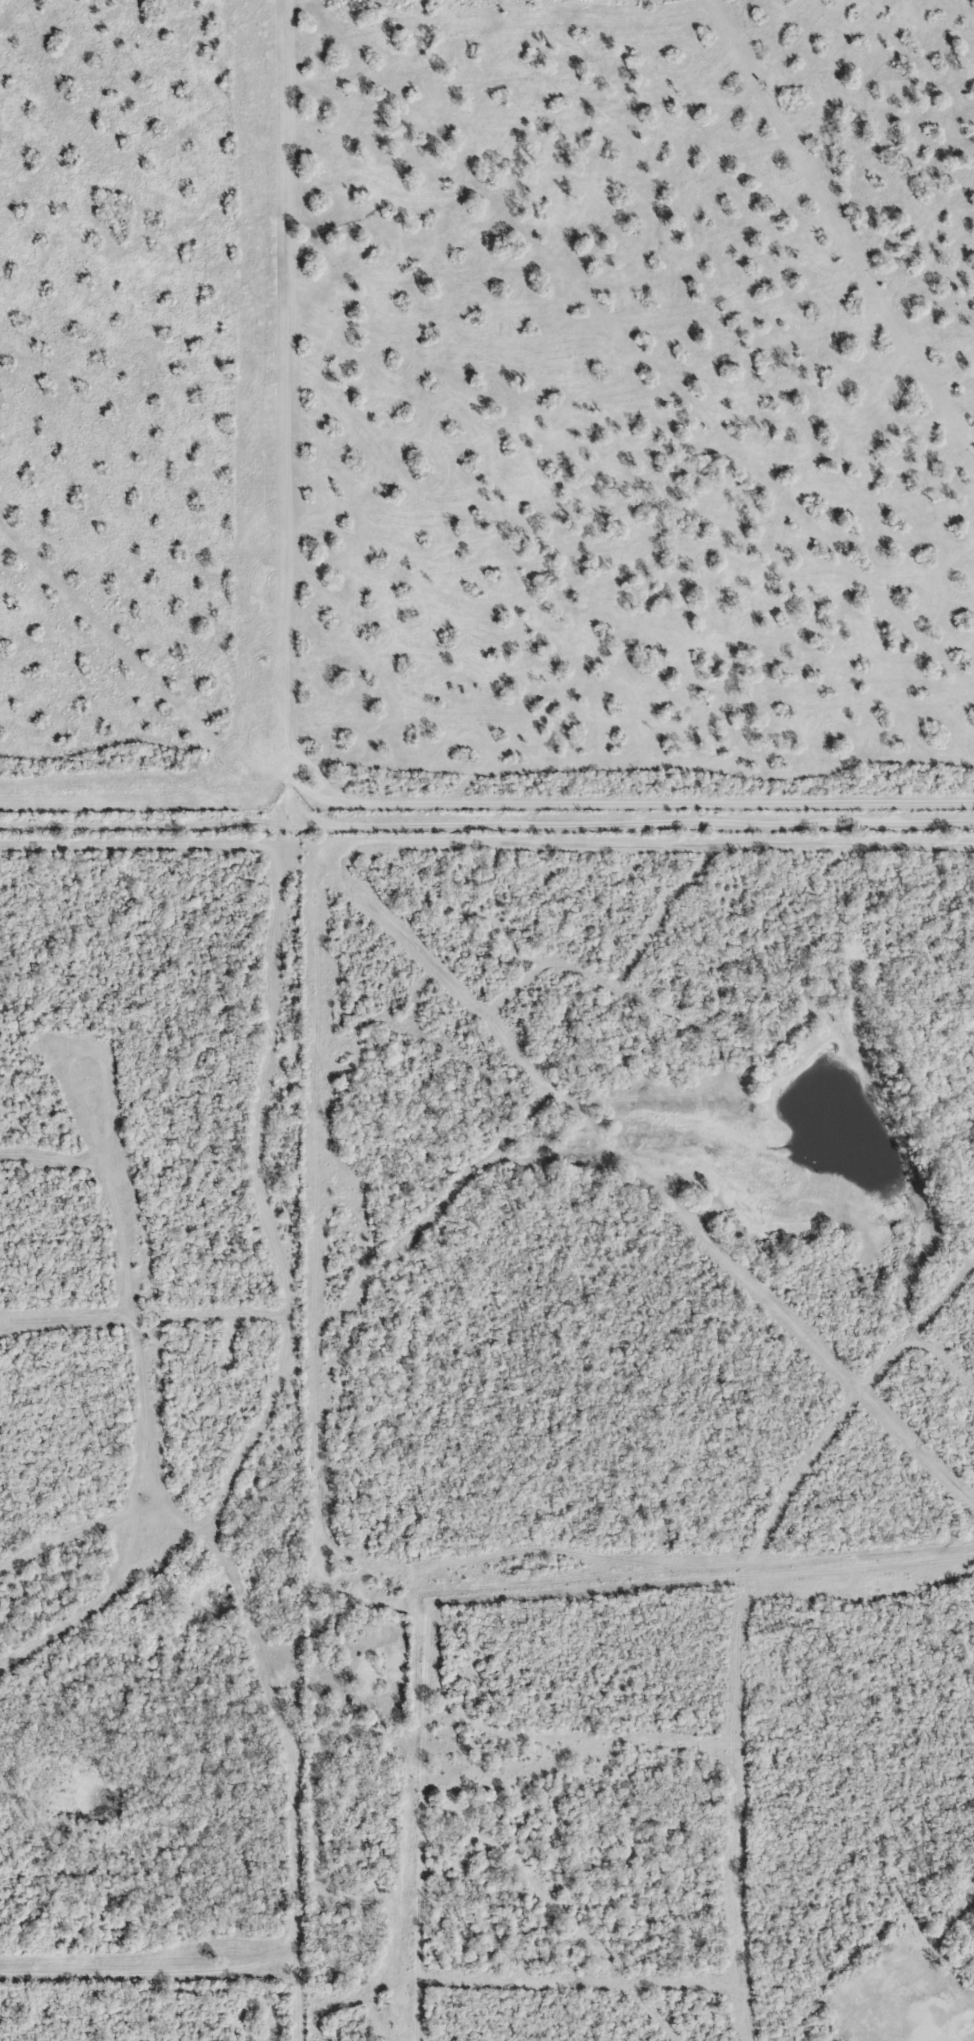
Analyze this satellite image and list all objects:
road: (185, 1972)

